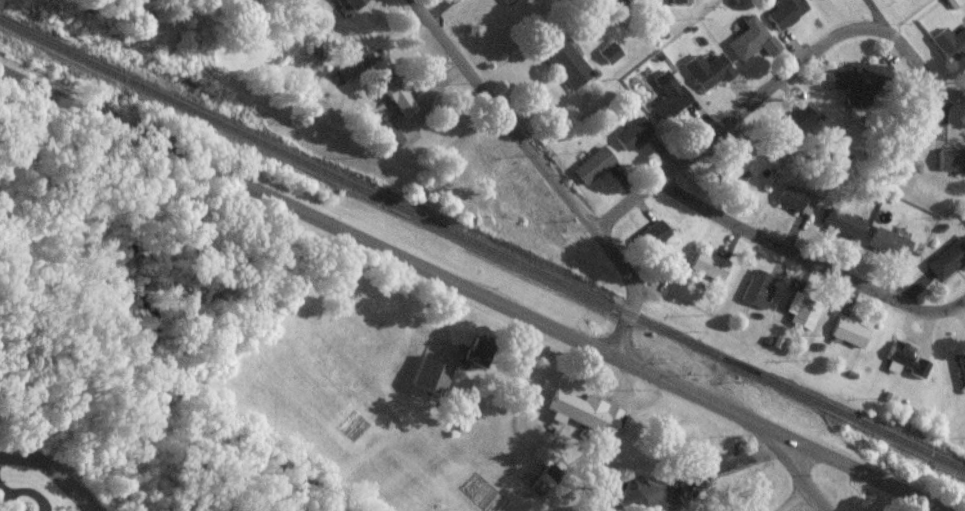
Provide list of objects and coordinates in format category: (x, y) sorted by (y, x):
building: (821, 3)
building: (505, 5)
building: (668, 5)
road: (328, 12)
building: (784, 19)
building: (746, 45)
building: (950, 52)
building: (565, 71)
road: (509, 72)
building: (708, 78)
road: (441, 83)
building: (859, 83)
road: (774, 84)
building: (666, 108)
building: (796, 127)
building: (630, 141)
road: (662, 156)
building: (949, 167)
building: (737, 172)
road: (544, 173)
building: (590, 173)
road: (625, 189)
building: (793, 206)
road: (642, 210)
railway: (482, 250)
building: (886, 251)
road: (806, 263)
building: (947, 265)
road: (463, 292)
building: (756, 298)
road: (661, 302)
building: (801, 321)
building: (847, 339)
road: (649, 346)
road: (699, 366)
building: (904, 368)
building: (961, 377)
building: (426, 383)
road: (624, 387)
road: (49, 472)
road: (733, 476)
road: (801, 483)
road: (795, 502)
road: (913, 508)

